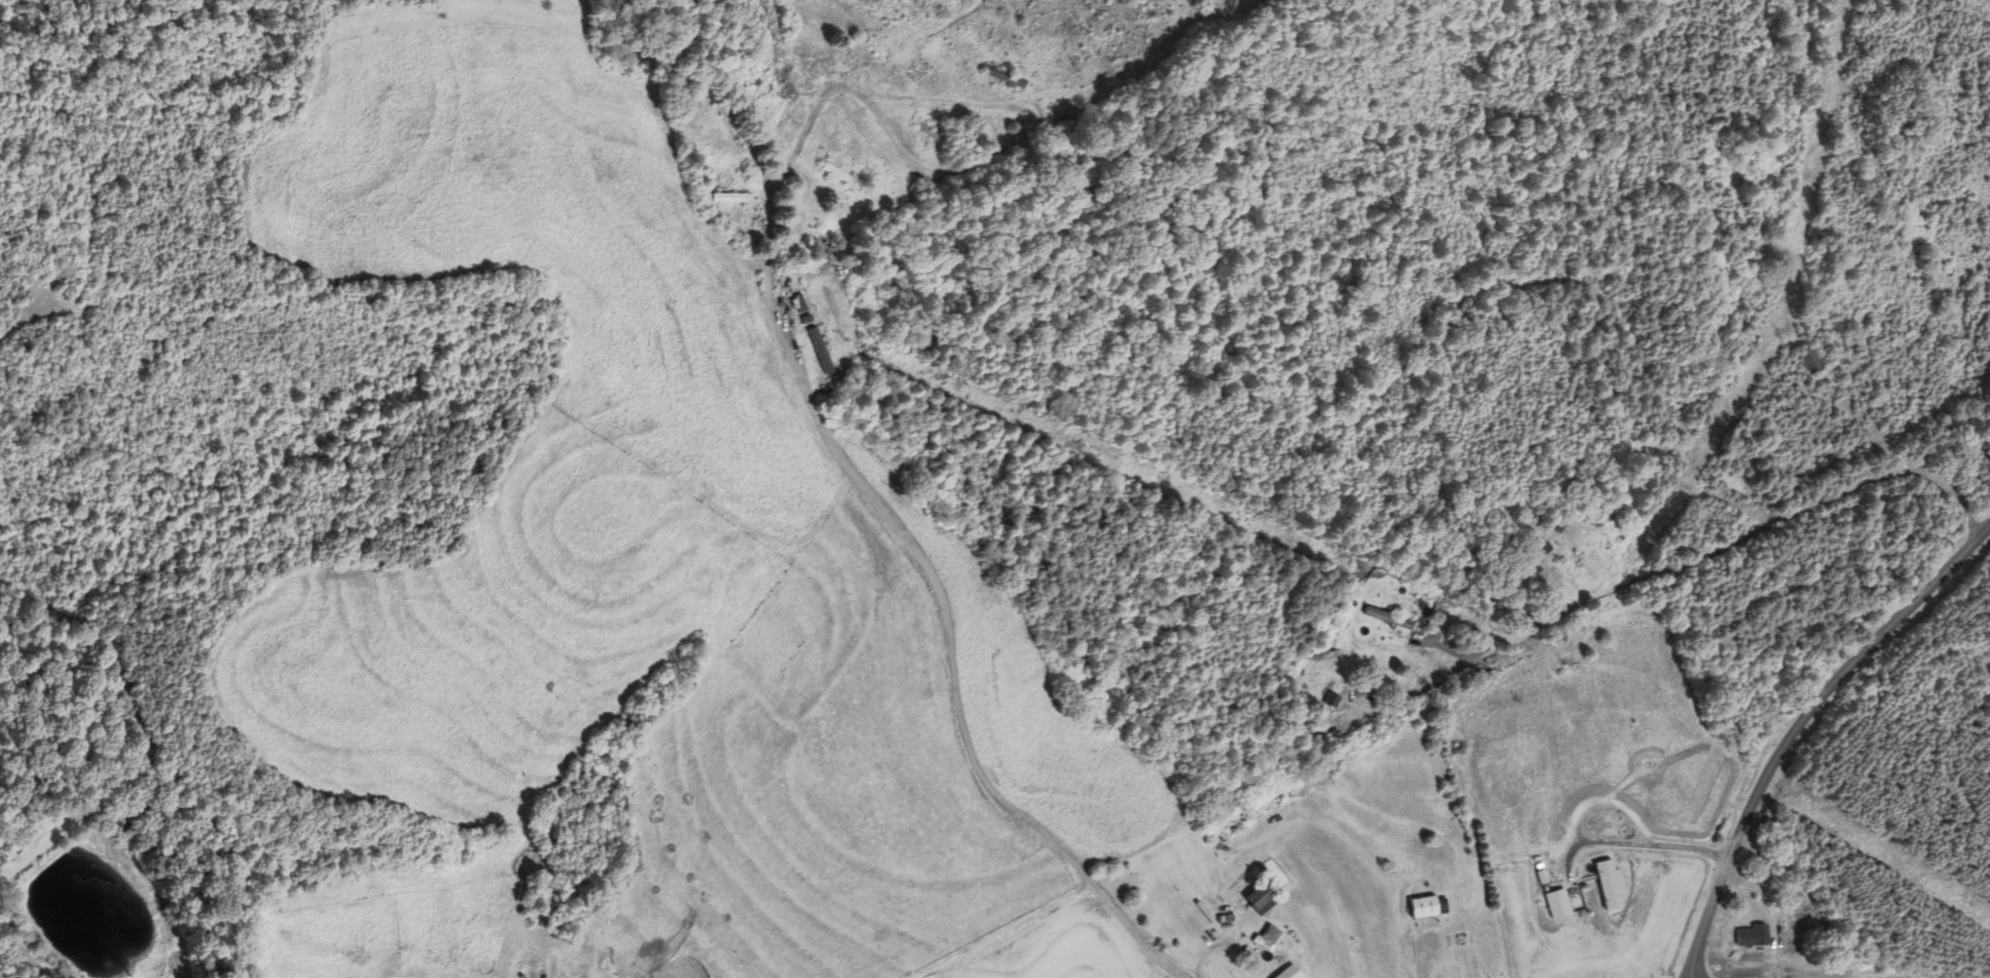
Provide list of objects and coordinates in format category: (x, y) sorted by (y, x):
building: (858, 50)
building: (1003, 77)
building: (760, 81)
building: (927, 133)
building: (837, 173)
building: (731, 197)
building: (1731, 248)
road: (1084, 281)
building: (807, 305)
building: (1807, 359)
road: (875, 488)
road: (1756, 536)
building: (1545, 610)
building: (1383, 618)
building: (1331, 693)
road: (1798, 724)
building: (1309, 733)
road: (1641, 844)
building: (1608, 885)
building: (1257, 897)
building: (1373, 903)
building: (1554, 904)
building: (1417, 909)
building: (1747, 937)
building: (1266, 944)
road: (1218, 952)

